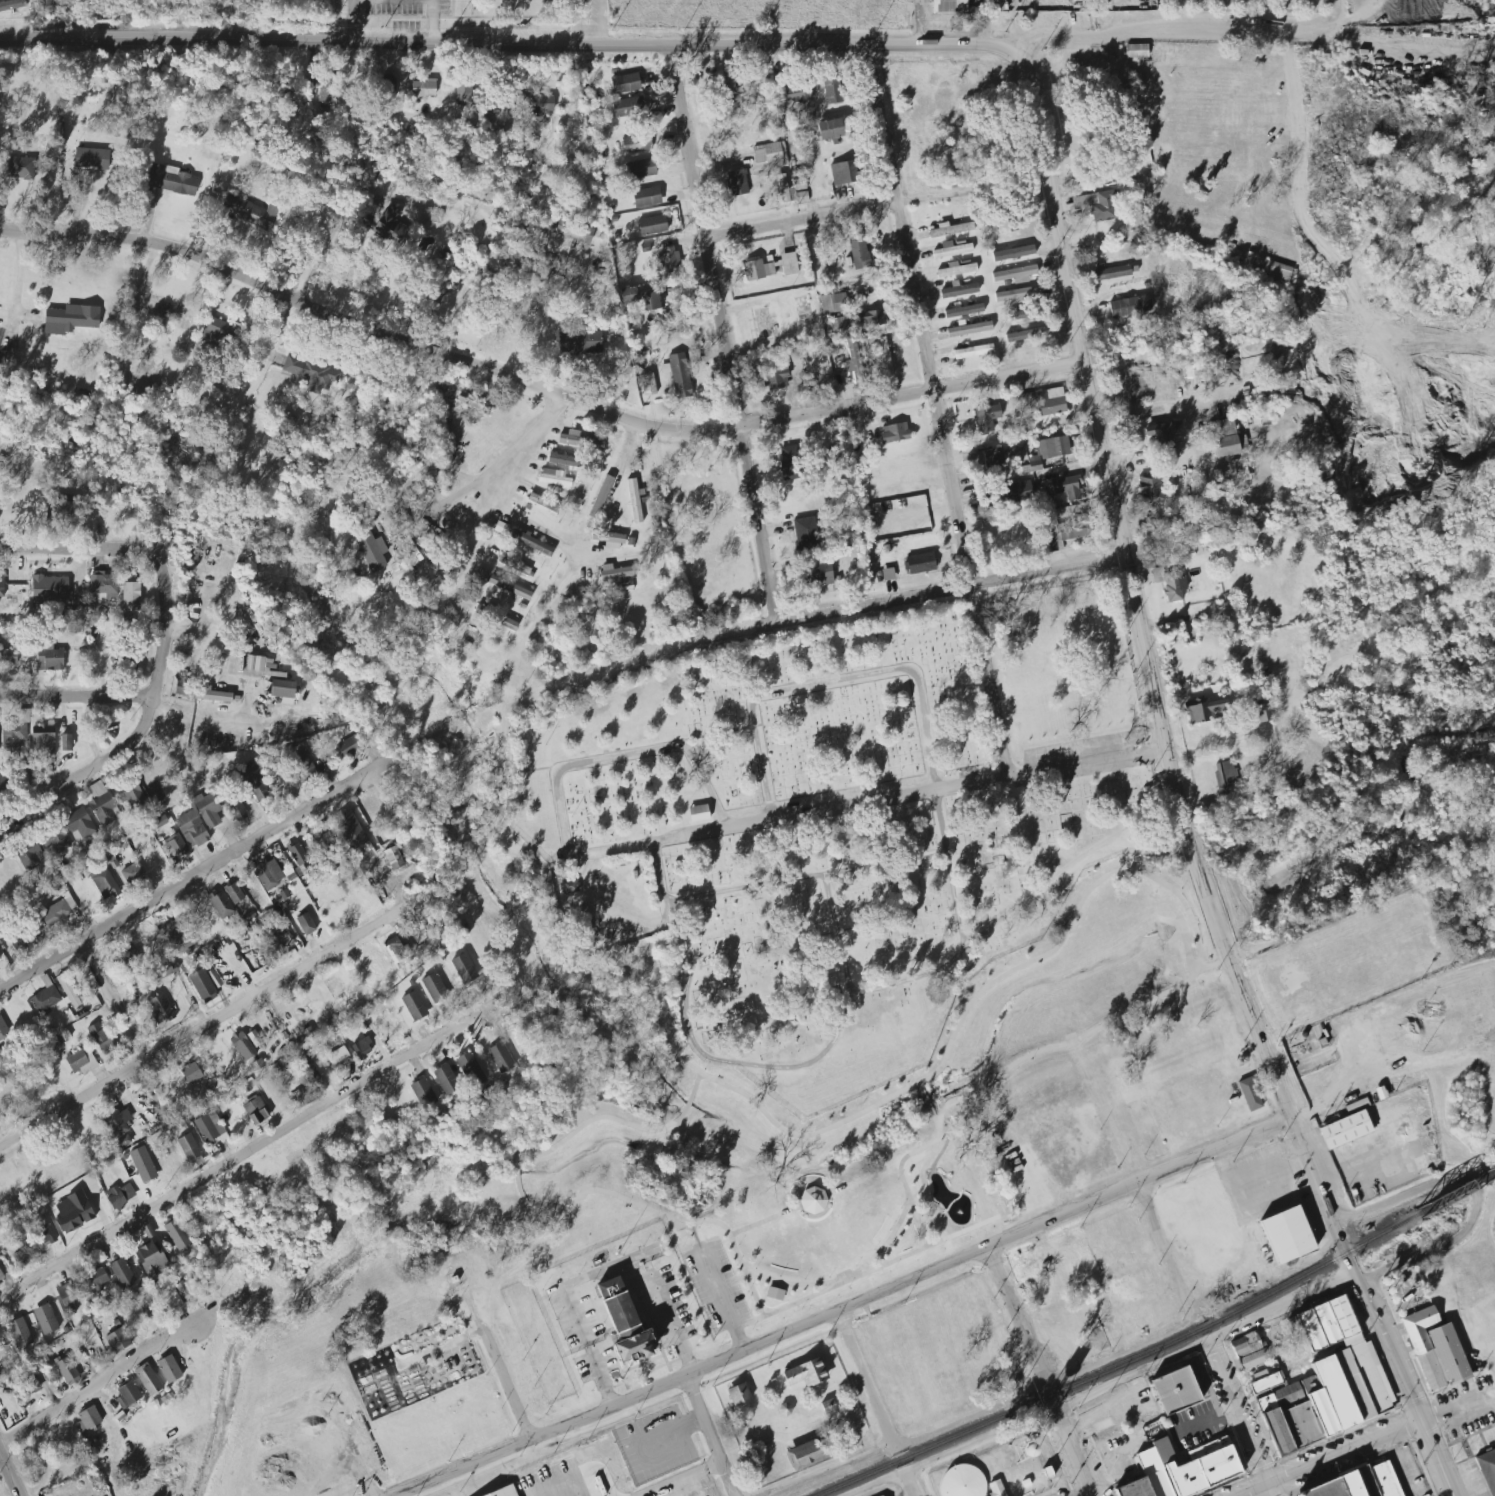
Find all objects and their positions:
building: (11, 5)
building: (998, 5)
building: (949, 6)
road: (1330, 10)
road: (1180, 16)
road: (351, 21)
road: (432, 22)
road: (576, 23)
road: (597, 23)
road: (918, 23)
road: (1013, 26)
road: (1170, 33)
road: (1367, 45)
road: (508, 46)
building: (1136, 51)
road: (486, 74)
building: (626, 82)
building: (818, 88)
building: (423, 89)
building: (325, 90)
building: (832, 90)
building: (797, 93)
building: (463, 94)
building: (533, 105)
building: (628, 107)
building: (493, 120)
building: (798, 126)
building: (829, 129)
building: (636, 143)
building: (769, 153)
building: (91, 159)
building: (20, 168)
building: (641, 169)
building: (842, 173)
building: (171, 181)
building: (737, 183)
building: (792, 190)
building: (647, 197)
road: (874, 205)
building: (1097, 205)
building: (252, 211)
road: (337, 219)
building: (390, 224)
building: (653, 224)
building: (952, 229)
building: (574, 231)
building: (855, 236)
building: (952, 249)
building: (1013, 253)
building: (859, 254)
building: (669, 260)
road: (610, 261)
building: (789, 263)
building: (956, 269)
building: (1272, 269)
building: (758, 270)
building: (1112, 272)
road: (19, 273)
building: (1015, 274)
building: (959, 291)
building: (1017, 294)
building: (640, 297)
building: (834, 303)
building: (1130, 306)
building: (962, 309)
building: (70, 318)
building: (869, 319)
building: (836, 324)
building: (969, 329)
building: (219, 331)
road: (722, 335)
building: (1027, 335)
building: (578, 340)
building: (973, 351)
building: (884, 356)
building: (853, 361)
building: (311, 373)
building: (679, 375)
building: (777, 377)
road: (534, 385)
building: (648, 385)
building: (469, 400)
building: (1043, 401)
road: (936, 411)
road: (1162, 413)
building: (986, 418)
building: (894, 433)
building: (1163, 434)
building: (1223, 438)
building: (579, 441)
building: (1242, 443)
building: (1054, 446)
building: (984, 459)
building: (566, 461)
building: (790, 462)
building: (1240, 470)
building: (553, 477)
road: (492, 486)
building: (1068, 487)
building: (1150, 487)
road: (455, 494)
building: (1006, 494)
building: (601, 497)
building: (634, 501)
building: (544, 502)
building: (60, 508)
road: (534, 526)
building: (1072, 530)
building: (806, 534)
building: (614, 541)
building: (532, 543)
road: (75, 548)
building: (372, 551)
building: (404, 556)
building: (919, 563)
building: (511, 564)
building: (614, 572)
building: (818, 573)
building: (481, 574)
building: (888, 574)
building: (1169, 583)
building: (2, 585)
building: (103, 585)
building: (48, 587)
building: (509, 587)
road: (949, 589)
building: (131, 596)
building: (508, 624)
road: (668, 650)
building: (8, 657)
building: (50, 657)
road: (1146, 662)
building: (263, 666)
road: (833, 681)
building: (283, 691)
road: (76, 696)
building: (210, 696)
building: (1205, 710)
road: (222, 715)
building: (1264, 715)
road: (144, 723)
building: (15, 732)
building: (43, 741)
building: (66, 743)
road: (1220, 744)
building: (349, 747)
road: (620, 755)
building: (305, 771)
building: (1224, 776)
building: (4, 786)
building: (259, 790)
building: (132, 795)
road: (866, 802)
building: (102, 804)
building: (208, 809)
building: (237, 811)
building: (698, 813)
building: (80, 827)
building: (192, 829)
building: (351, 830)
park: (811, 831)
building: (55, 840)
building: (323, 841)
building: (173, 847)
building: (29, 853)
building: (297, 854)
building: (106, 857)
building: (393, 858)
road: (949, 870)
building: (132, 873)
building: (269, 874)
road: (191, 876)
road: (805, 877)
building: (106, 884)
building: (234, 893)
building: (221, 904)
building: (56, 914)
building: (306, 924)
building: (176, 936)
building: (394, 944)
building: (20, 945)
road: (969, 946)
building: (126, 956)
building: (0, 958)
building: (464, 969)
building: (203, 985)
building: (434, 987)
building: (69, 991)
building: (45, 999)
road: (114, 1001)
road: (685, 1002)
building: (414, 1006)
building: (160, 1009)
road: (204, 1027)
building: (3, 1029)
building: (102, 1038)
building: (254, 1038)
building: (242, 1046)
building: (362, 1048)
building: (501, 1057)
building: (338, 1058)
building: (81, 1061)
building: (308, 1068)
building: (470, 1069)
building: (191, 1073)
building: (446, 1079)
building: (423, 1093)
building: (1249, 1093)
building: (255, 1110)
building: (118, 1122)
park: (870, 1122)
building: (1347, 1126)
building: (205, 1128)
building: (123, 1141)
building: (1152, 1144)
building: (189, 1147)
road: (246, 1152)
building: (143, 1164)
parking lot: (1263, 1173)
road: (1229, 1181)
railway: (1454, 1193)
road: (1475, 1193)
building: (120, 1195)
road: (909, 1200)
building: (814, 1203)
street lamp: (900, 1206)
building: (73, 1211)
road: (764, 1220)
street lamp: (889, 1230)
building: (176, 1233)
building: (47, 1235)
building: (1287, 1235)
road: (884, 1244)
street lamp: (739, 1245)
street lamp: (873, 1248)
building: (22, 1249)
road: (734, 1249)
road: (1162, 1250)
building: (151, 1256)
street lamp: (856, 1264)
street lamp: (755, 1268)
building: (123, 1273)
building: (1, 1276)
street lamp: (779, 1276)
street lamp: (829, 1276)
building: (98, 1279)
street lamp: (804, 1279)
road: (730, 1280)
road: (581, 1281)
road: (793, 1283)
road: (836, 1284)
parking lot: (715, 1287)
building: (774, 1293)
building: (68, 1297)
road: (720, 1298)
road: (844, 1308)
building: (45, 1319)
road: (672, 1322)
road: (1015, 1323)
building: (1327, 1323)
building: (626, 1327)
building: (19, 1333)
building: (118, 1340)
building: (1434, 1349)
building: (1253, 1359)
road: (498, 1365)
railway: (1122, 1365)
building: (169, 1369)
building: (67, 1370)
building: (1368, 1371)
building: (806, 1372)
road: (1397, 1374)
road: (600, 1378)
building: (148, 1379)
road: (864, 1381)
building: (28, 1383)
building: (1266, 1384)
building: (1309, 1384)
building: (1351, 1384)
road: (96, 1385)
road: (1042, 1386)
road: (1101, 1388)
building: (1175, 1390)
building: (1334, 1392)
building: (739, 1394)
building: (127, 1395)
building: (1280, 1397)
road: (1486, 1399)
building: (828, 1406)
parking lot: (1244, 1406)
building: (1321, 1413)
parking lot: (1227, 1414)
road: (1235, 1414)
building: (88, 1419)
parking lot: (1194, 1425)
building: (1300, 1425)
parking lot: (1055, 1426)
building: (1276, 1431)
road: (706, 1436)
road: (1371, 1440)
road: (1067, 1447)
water tower: (1022, 1452)
building: (807, 1453)
road: (1402, 1464)
building: (1217, 1466)
parking lot: (1096, 1467)
road: (826, 1469)
building: (1488, 1470)
building: (1154, 1472)
parking lot: (1408, 1472)
road: (8, 1477)
road: (678, 1479)
road: (1236, 1479)
building: (962, 1482)
storage tank: (962, 1482)
building: (1359, 1483)
road: (908, 1484)
building: (996, 1488)
building: (1134, 1488)
parking lot: (1230, 1488)
road: (1251, 1490)
road: (1267, 1490)
building: (504, 1491)
parking lot: (1059, 1494)
road: (1084, 1495)

